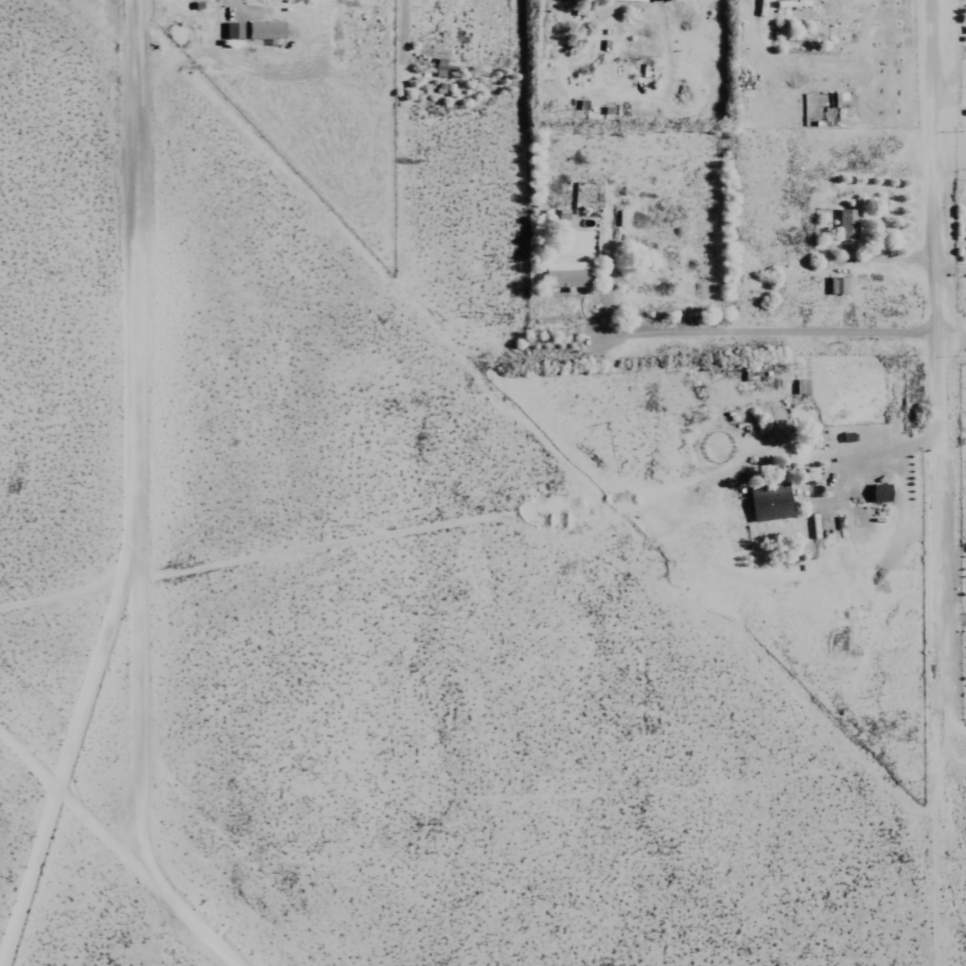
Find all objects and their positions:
building: (628, 0)
building: (230, 31)
building: (263, 32)
building: (439, 68)
road: (946, 71)
road: (931, 168)
building: (844, 225)
building: (562, 275)
building: (836, 286)
road: (952, 336)
road: (937, 372)
road: (134, 436)
road: (889, 450)
building: (877, 493)
building: (767, 503)
road: (69, 594)
road: (952, 622)
road: (119, 848)

